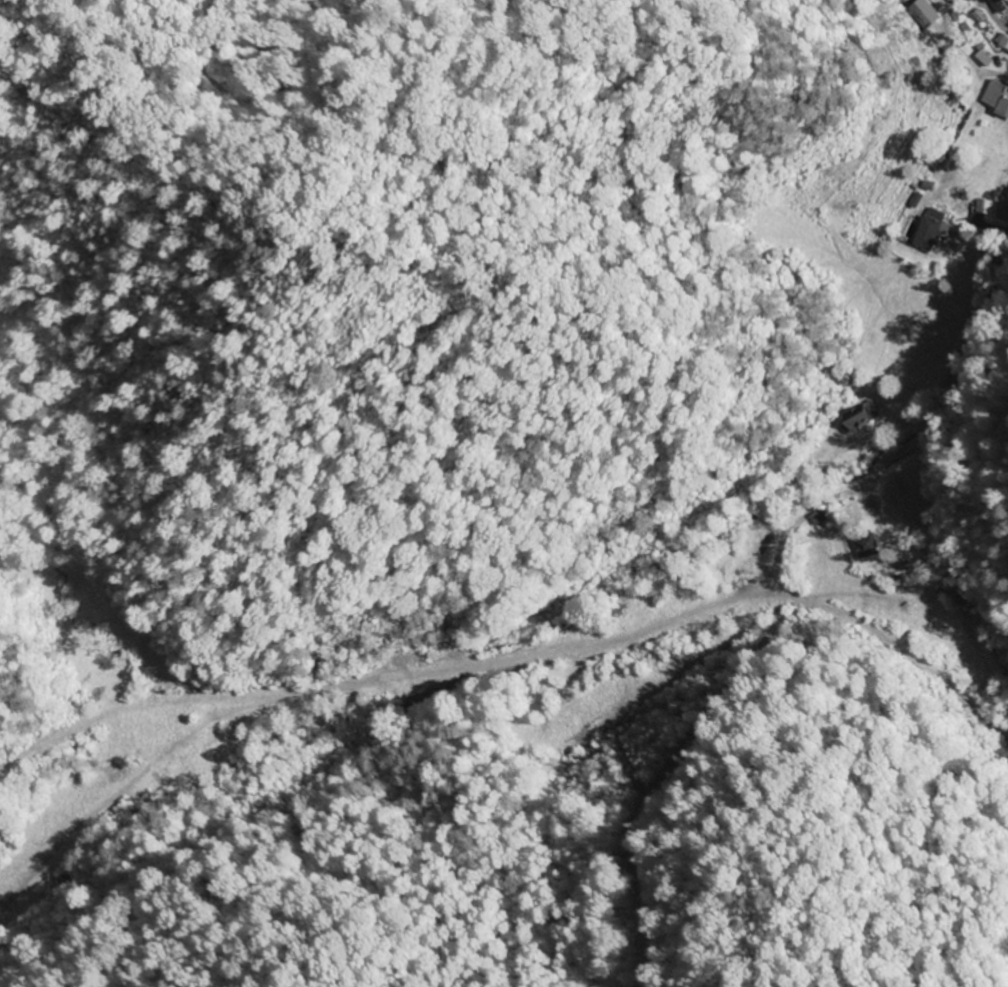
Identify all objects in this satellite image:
building: (1002, 5)
building: (924, 14)
building: (1002, 42)
building: (999, 95)
building: (935, 232)
road: (949, 375)
building: (858, 419)
building: (867, 545)

